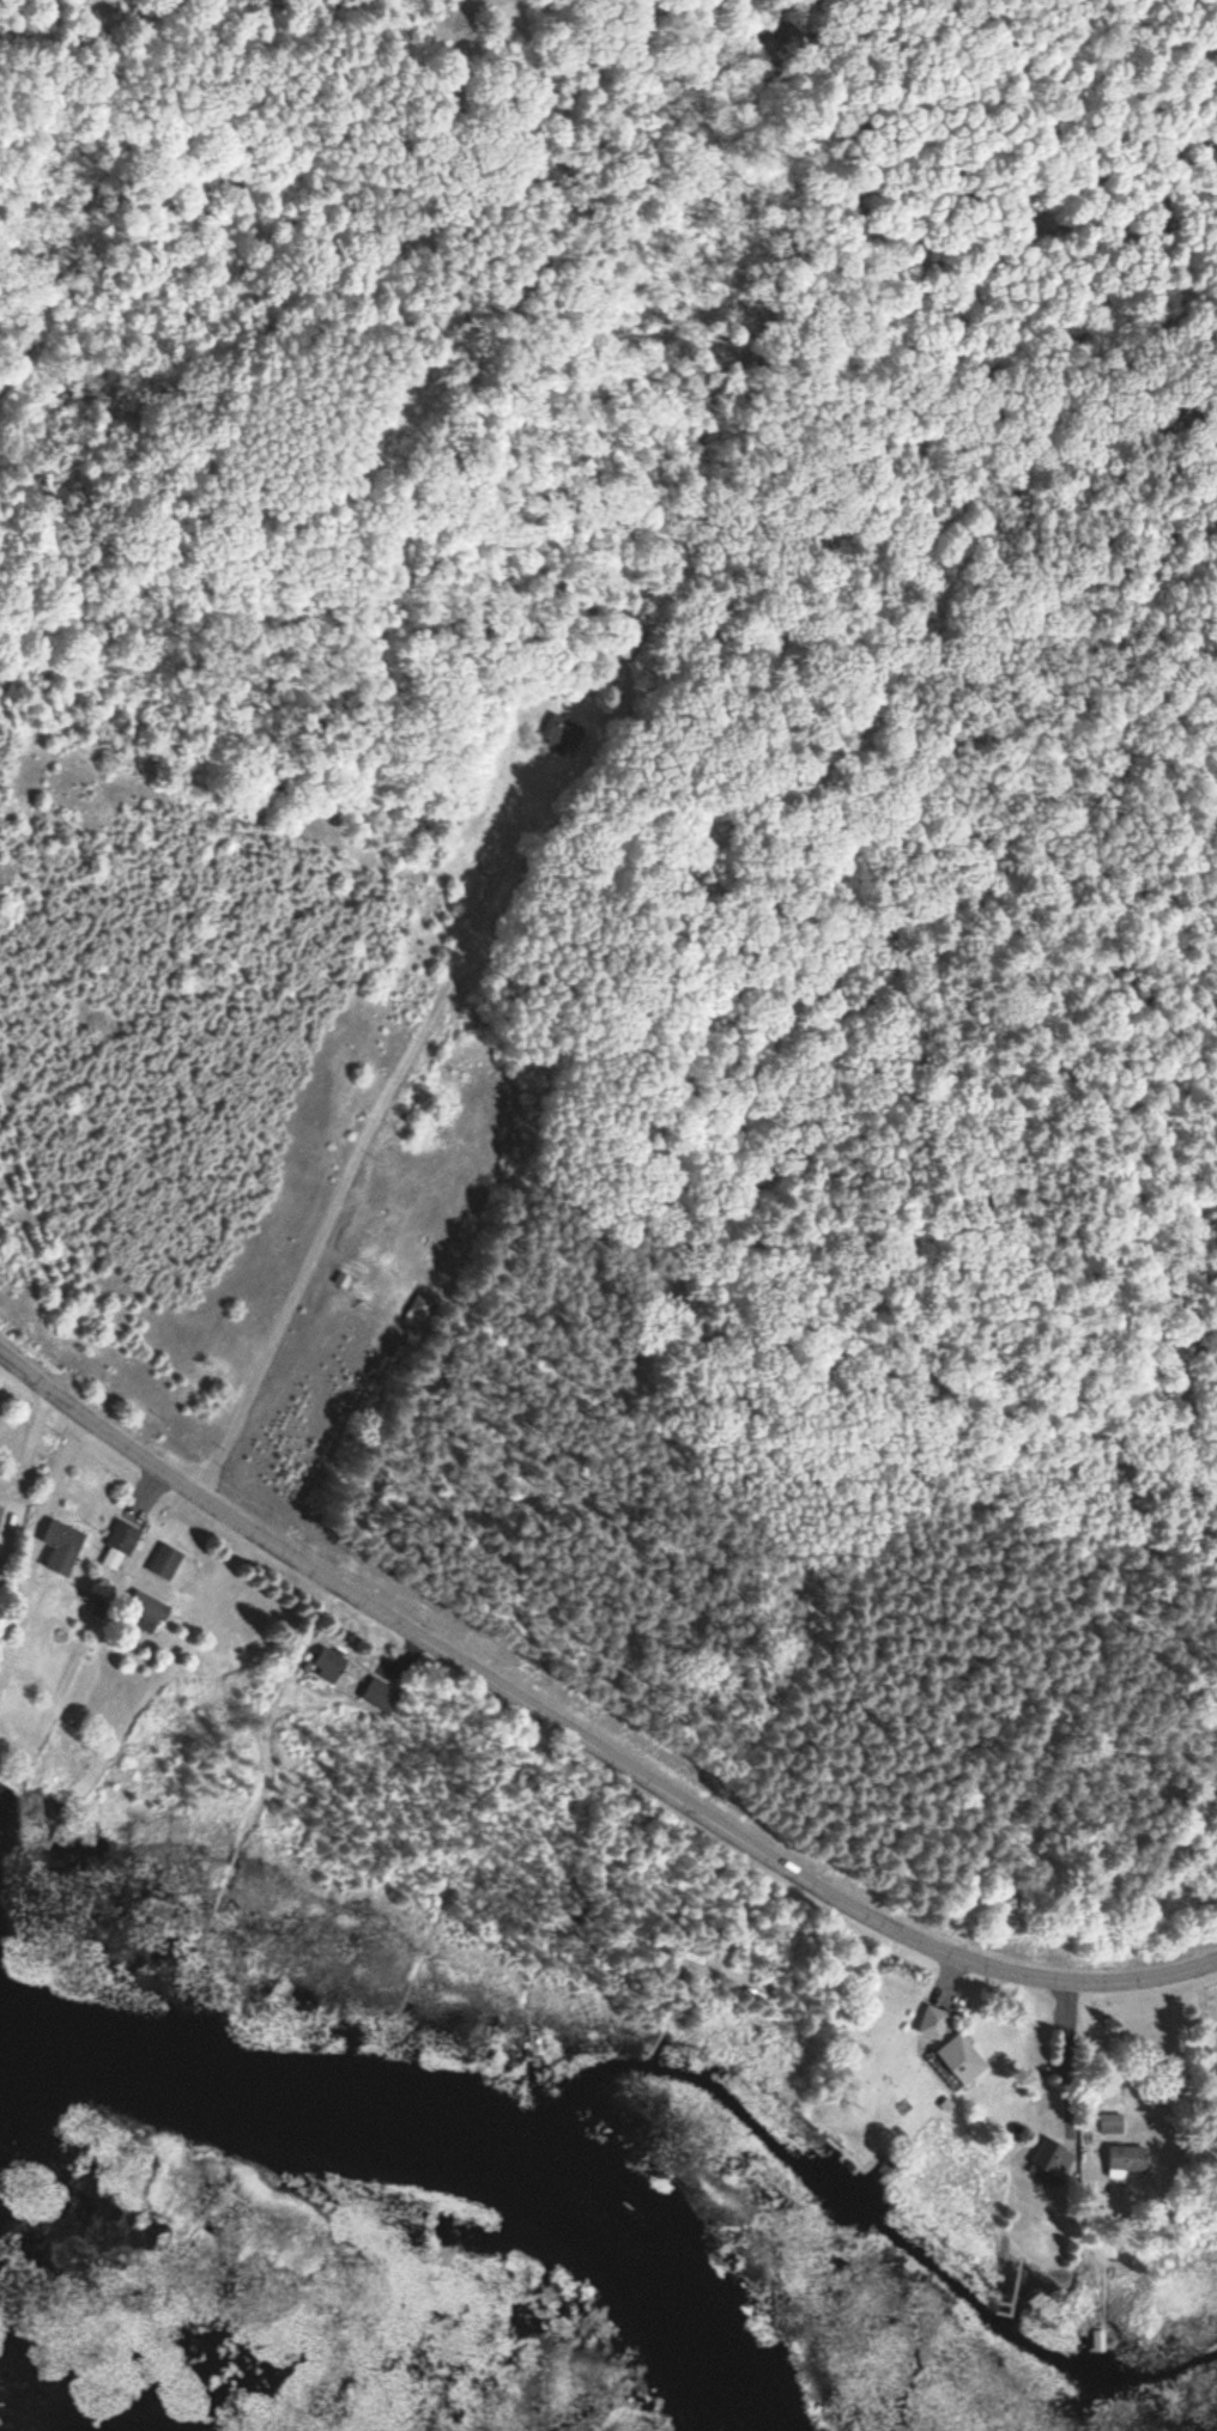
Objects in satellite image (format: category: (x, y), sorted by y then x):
building: (561, 736)
road: (363, 1153)
building: (417, 1311)
building: (1, 1511)
building: (123, 1536)
building: (63, 1546)
building: (166, 1562)
building: (145, 1612)
building: (329, 1665)
building: (381, 1695)
road: (580, 1745)
building: (934, 2024)
building: (962, 2060)
road: (1066, 2060)
road: (1086, 2073)
building: (1110, 2123)
building: (1054, 2158)
building: (1128, 2159)

